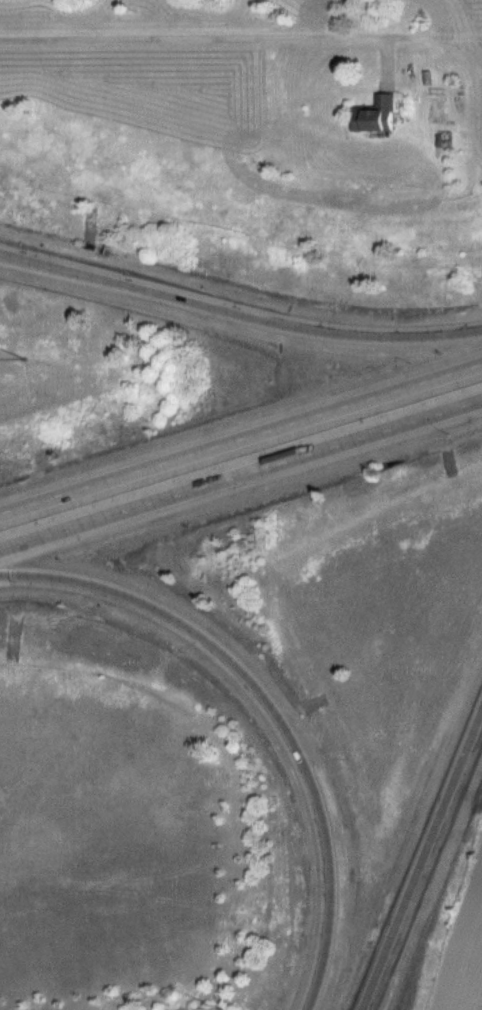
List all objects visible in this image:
road: (190, 38)
building: (373, 113)
road: (239, 311)
road: (241, 437)
road: (241, 476)
road: (270, 709)
road: (420, 862)
crop: (463, 959)

